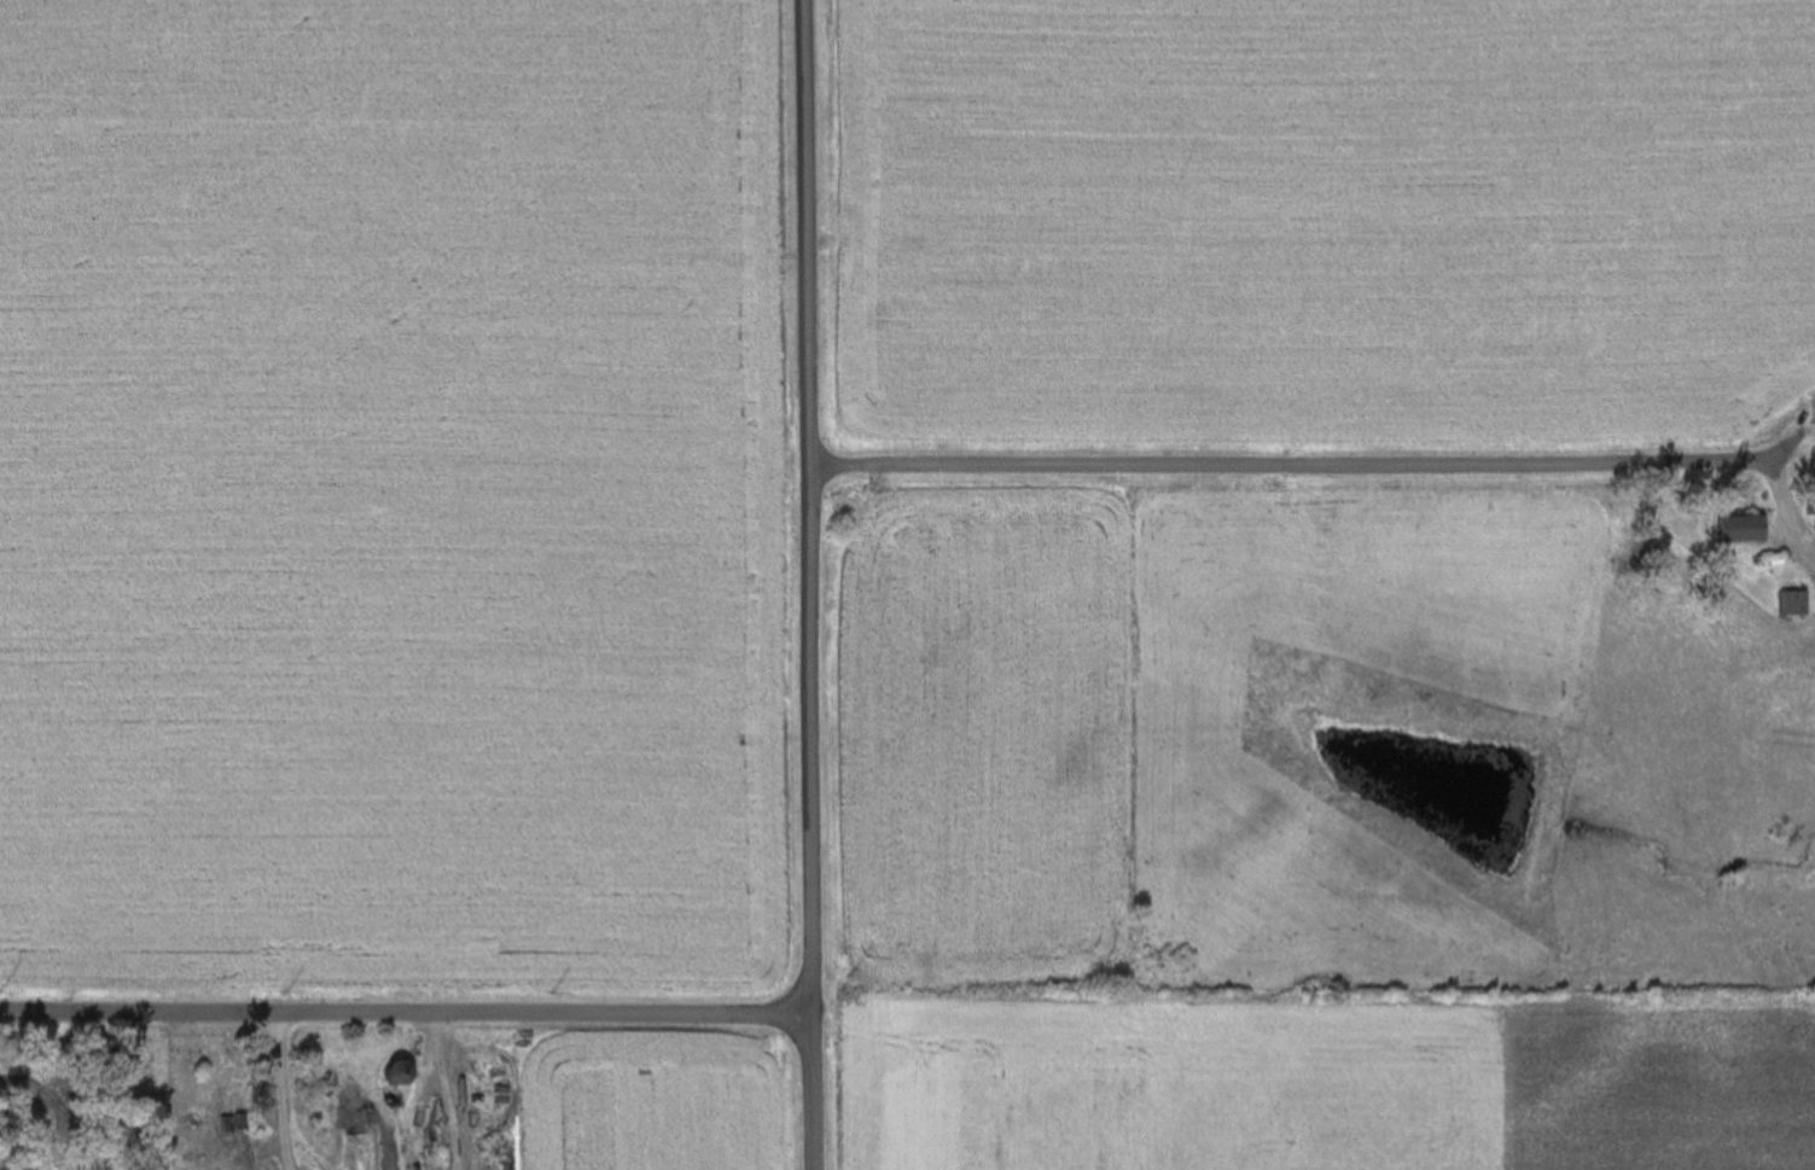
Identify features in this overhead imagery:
road: (1286, 465)
building: (1813, 517)
building: (1732, 530)
road: (803, 584)
building: (1785, 604)
road: (401, 1023)
building: (389, 1072)

